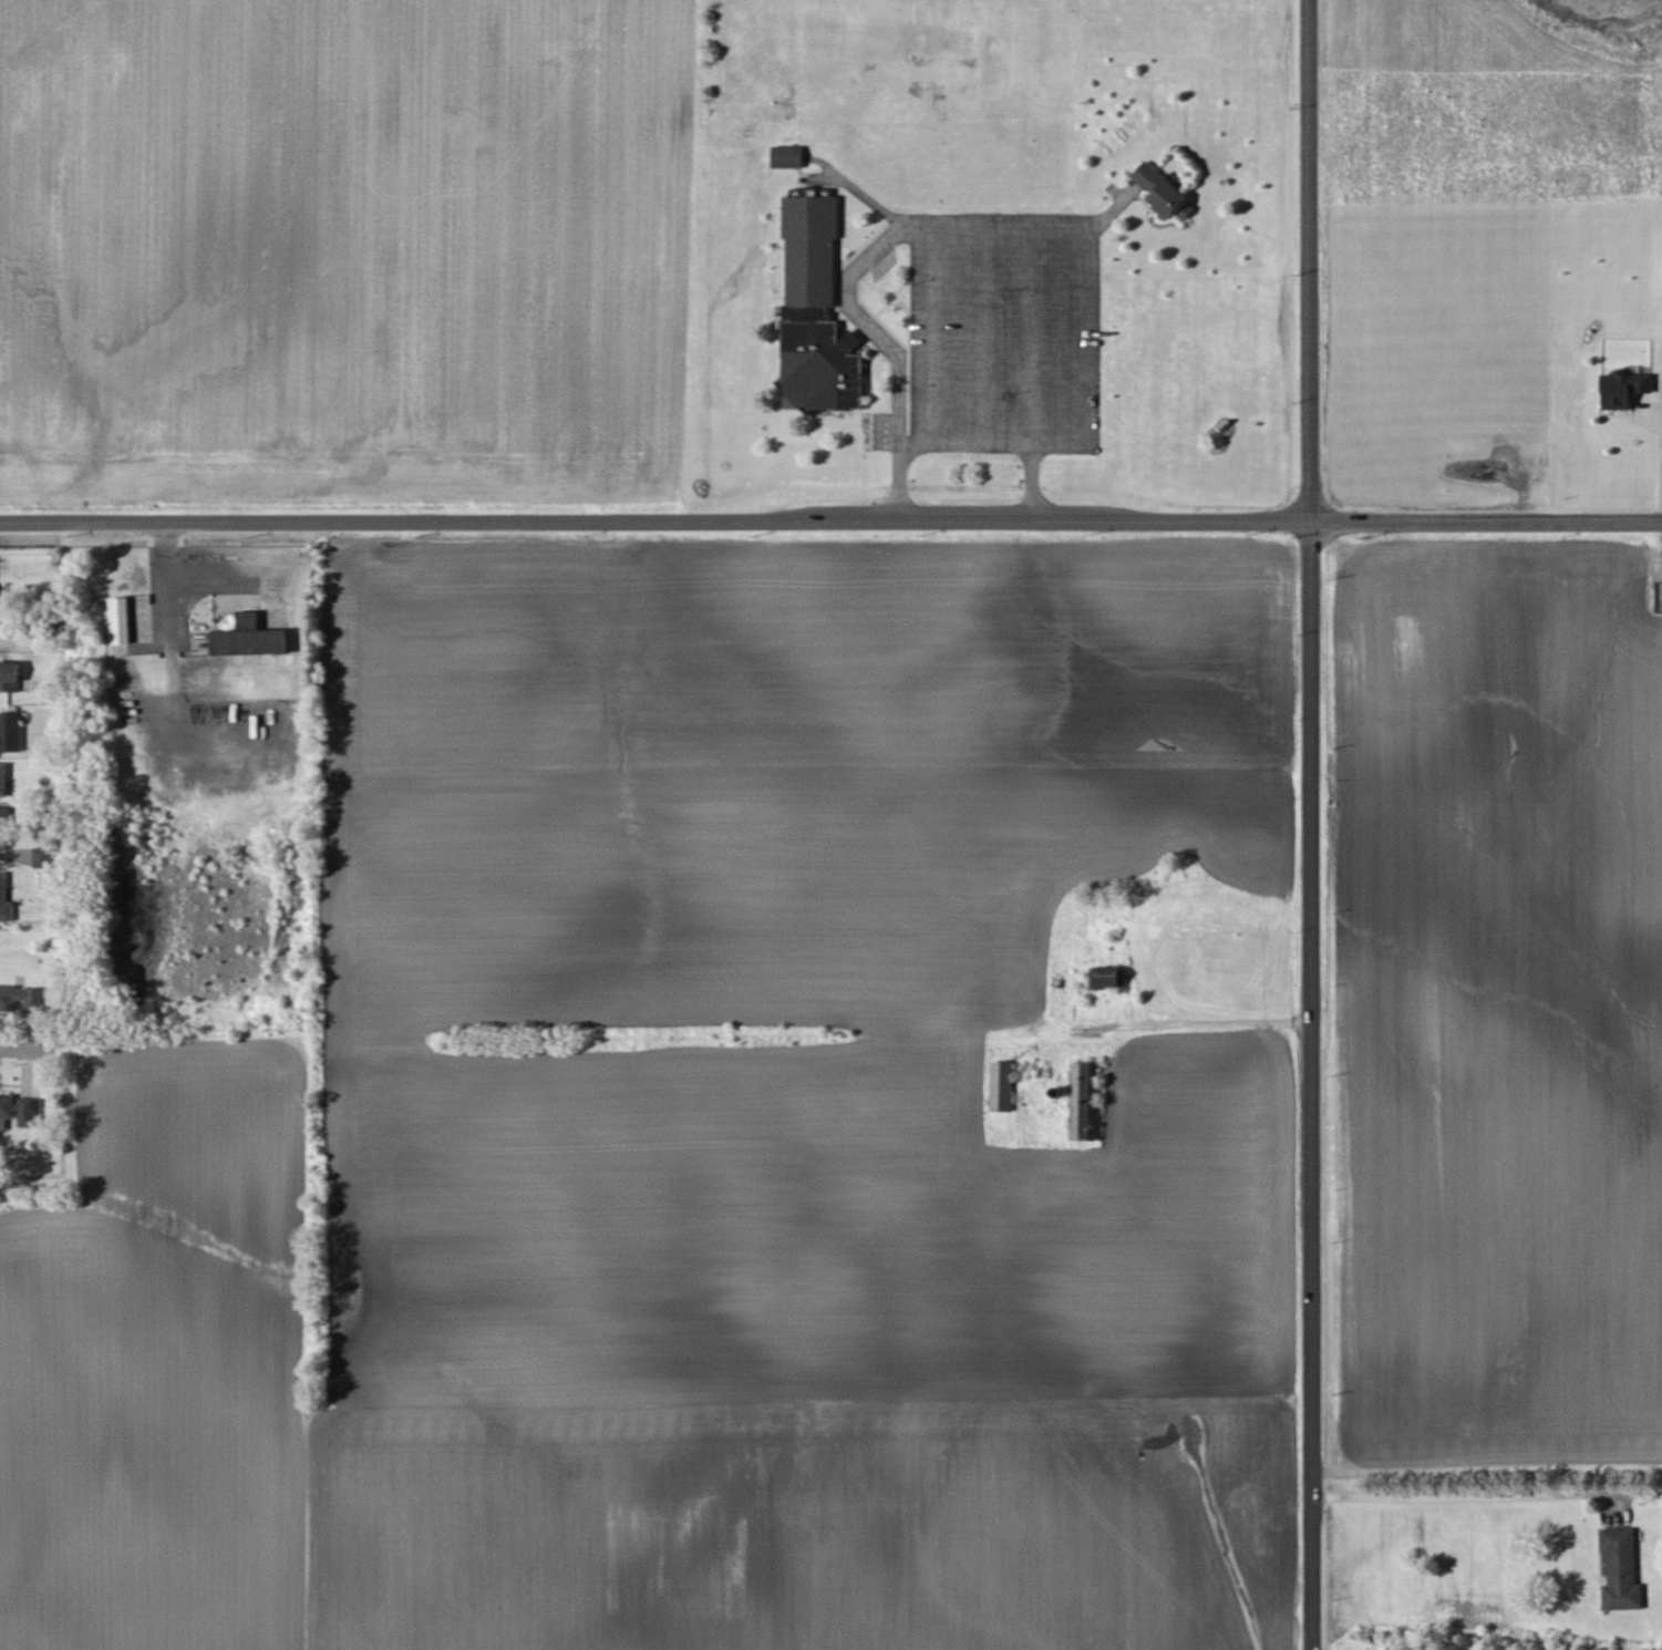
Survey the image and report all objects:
building: (786, 155)
building: (1162, 190)
road: (1001, 236)
road: (1307, 259)
building: (815, 312)
road: (884, 341)
building: (1622, 388)
road: (1074, 426)
road: (1030, 477)
road: (830, 516)
building: (120, 619)
building: (249, 637)
road: (161, 668)
building: (9, 676)
building: (10, 731)
building: (3, 778)
building: (4, 818)
building: (44, 856)
building: (4, 899)
building: (1107, 977)
building: (22, 997)
road: (1195, 1024)
road: (22, 1050)
road: (1310, 1084)
building: (1002, 1085)
building: (1083, 1100)
building: (7, 1108)
building: (30, 1111)
road: (1466, 1497)
building: (1620, 1569)

